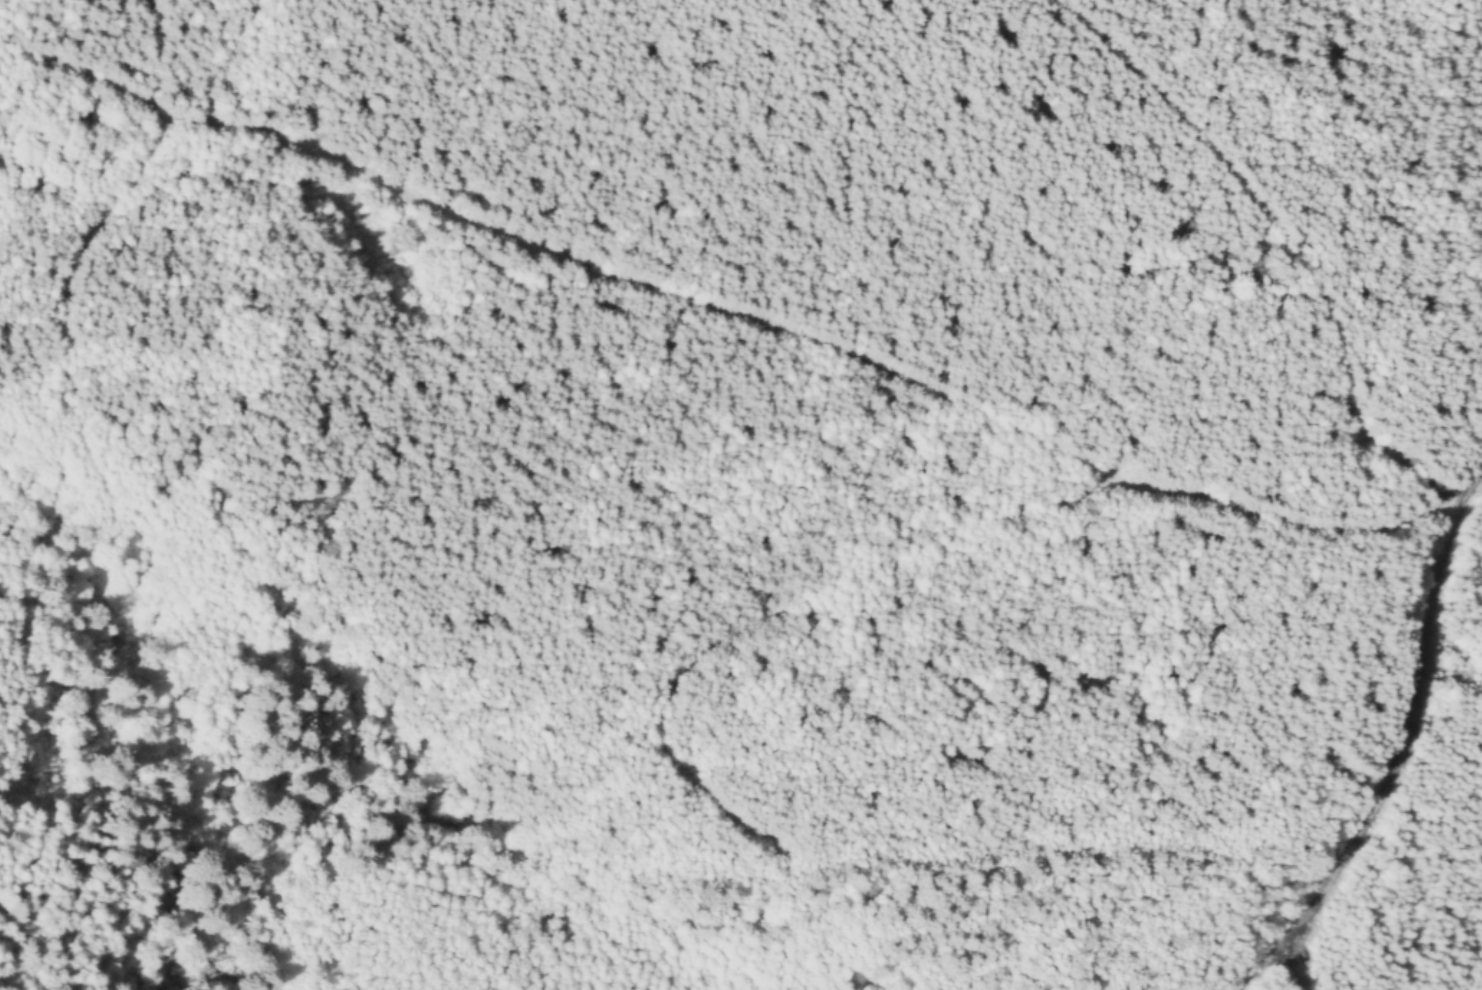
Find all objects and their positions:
road: (1481, 6)
road: (1289, 242)
road: (588, 262)
road: (66, 303)
road: (943, 540)
road: (1405, 739)
road: (1270, 962)

